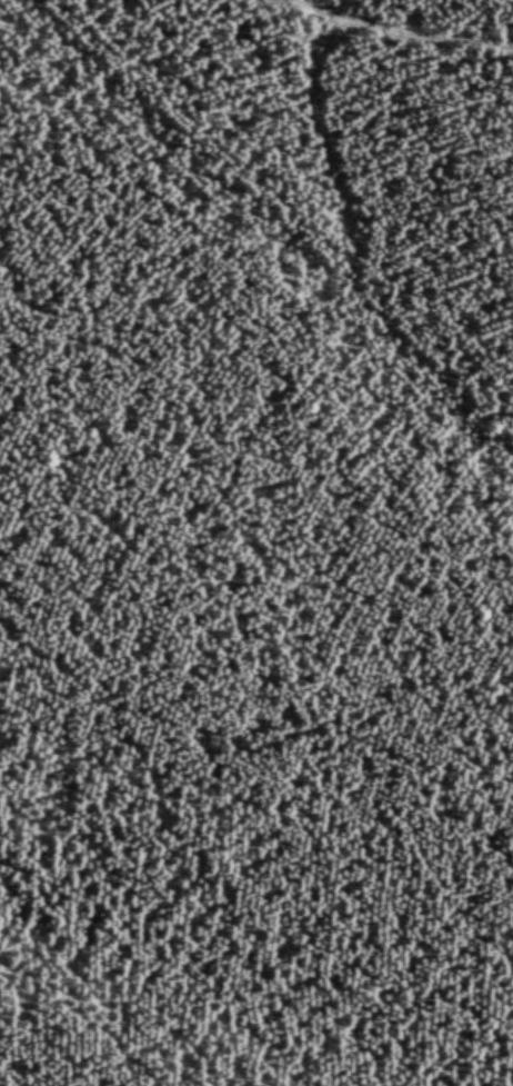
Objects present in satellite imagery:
road: (399, 32)

